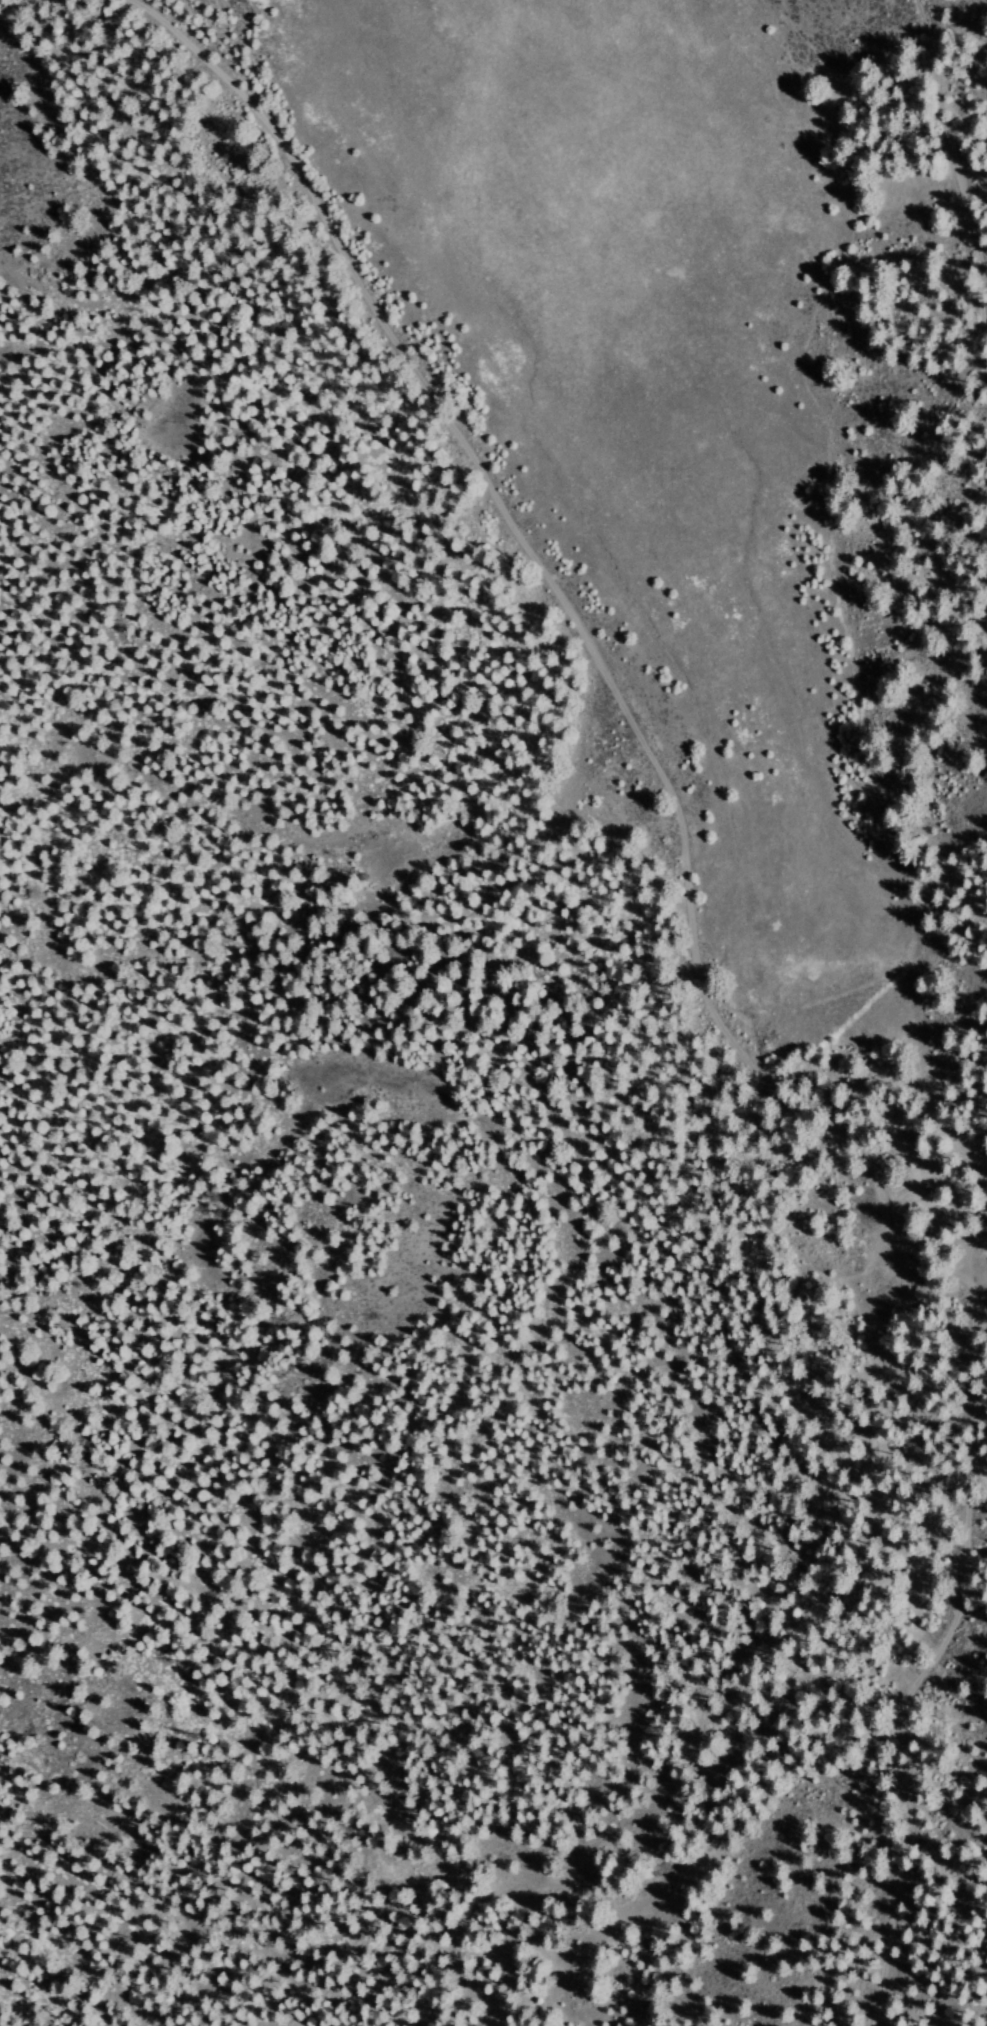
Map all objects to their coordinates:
road: (960, 121)
road: (583, 600)
road: (907, 1667)

